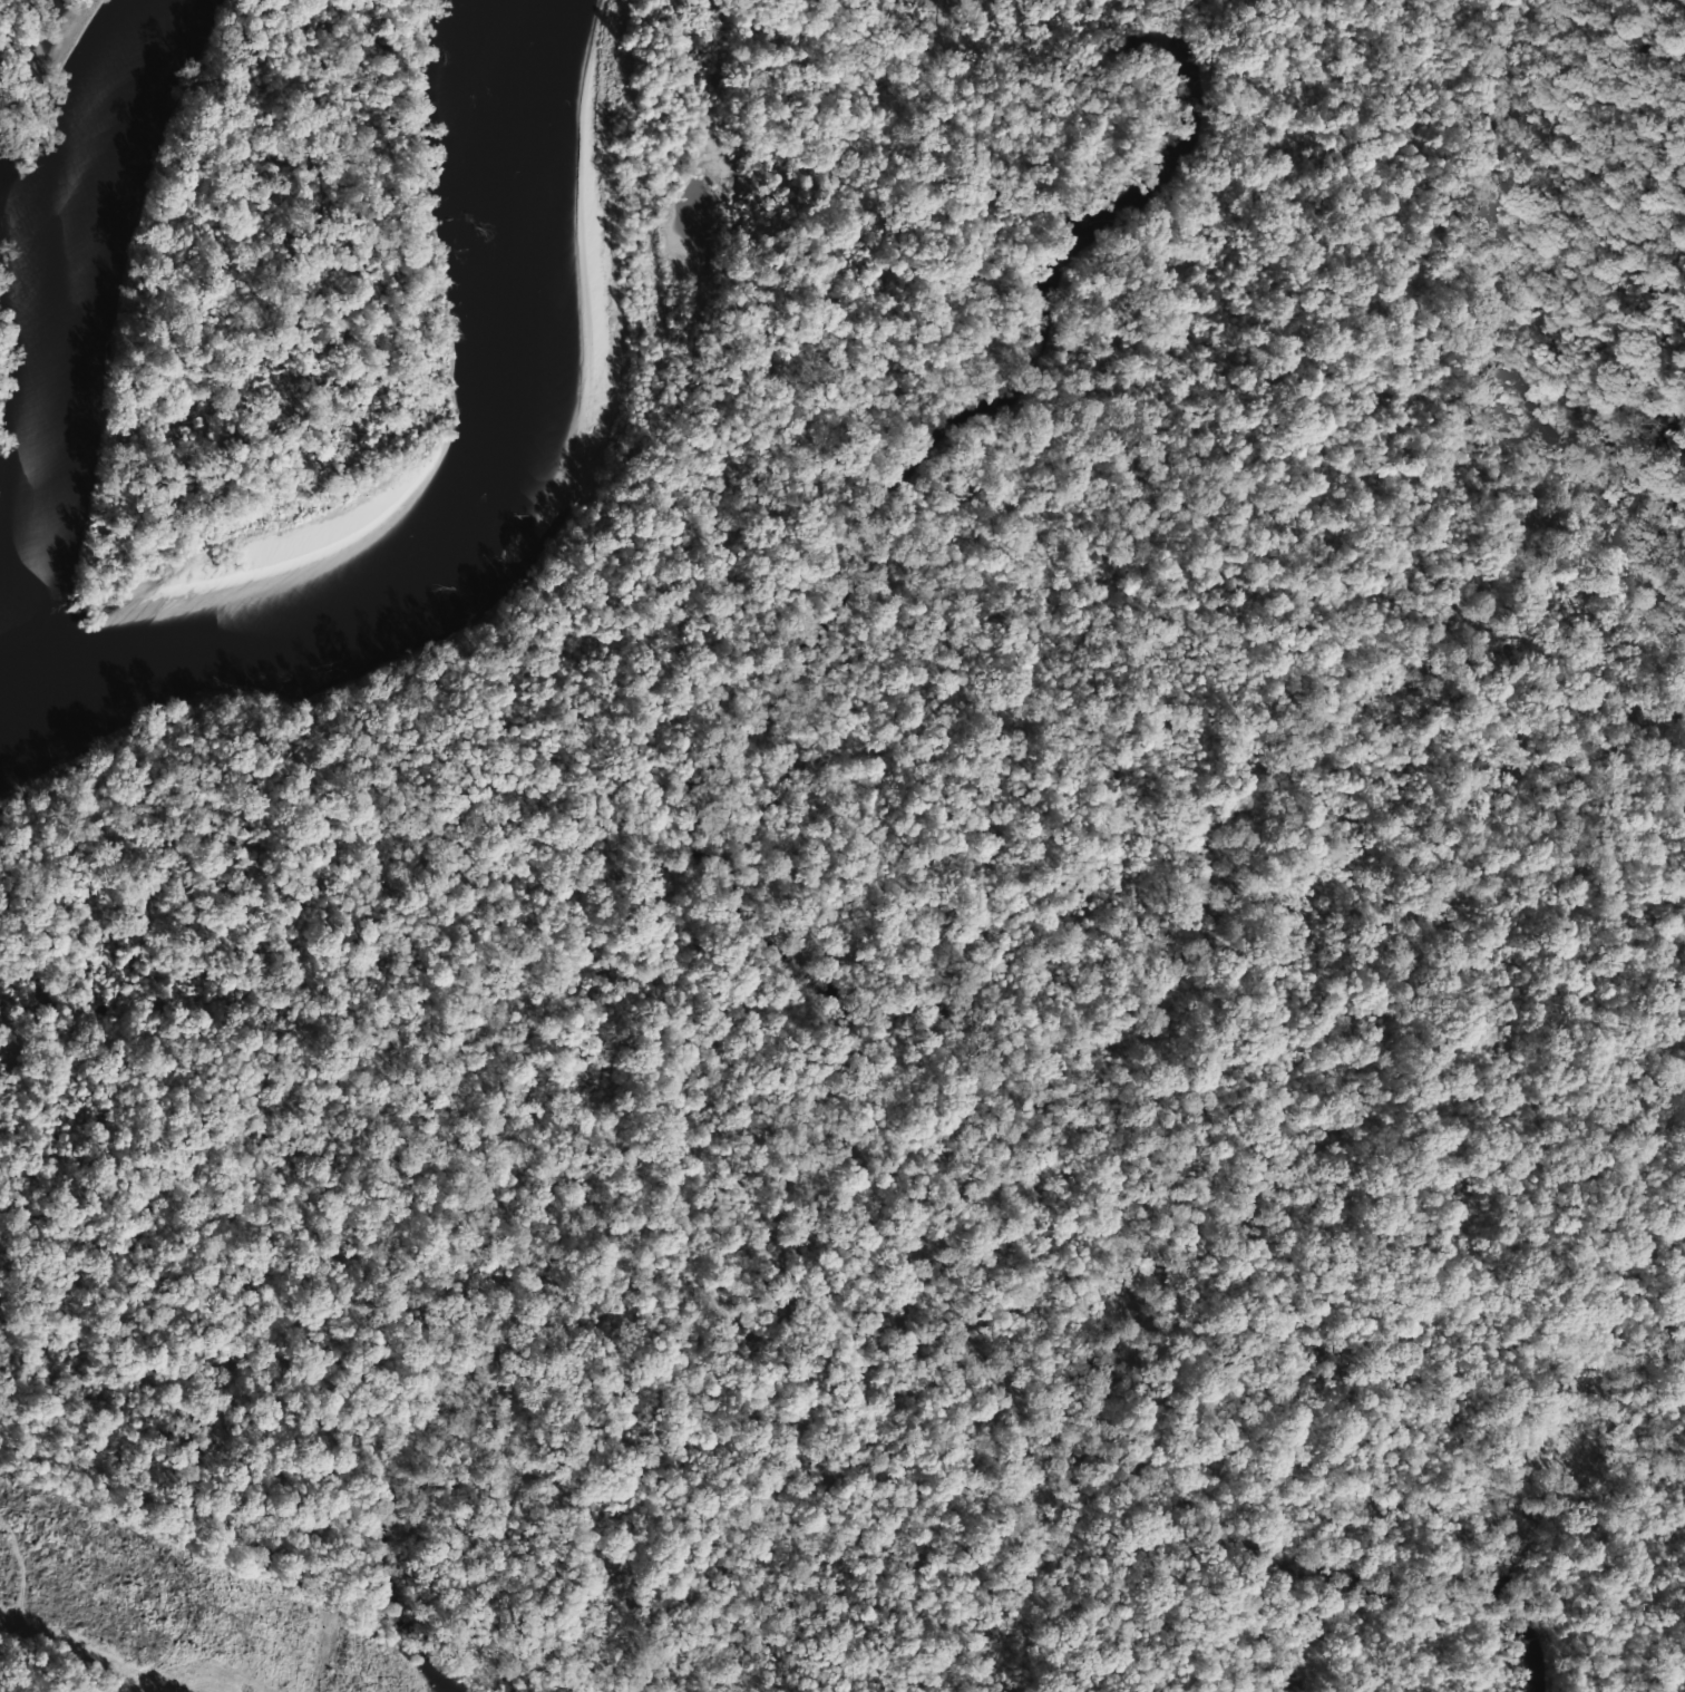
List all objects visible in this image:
river: (62, 264)
river: (476, 508)
power tower: (222, 1620)

